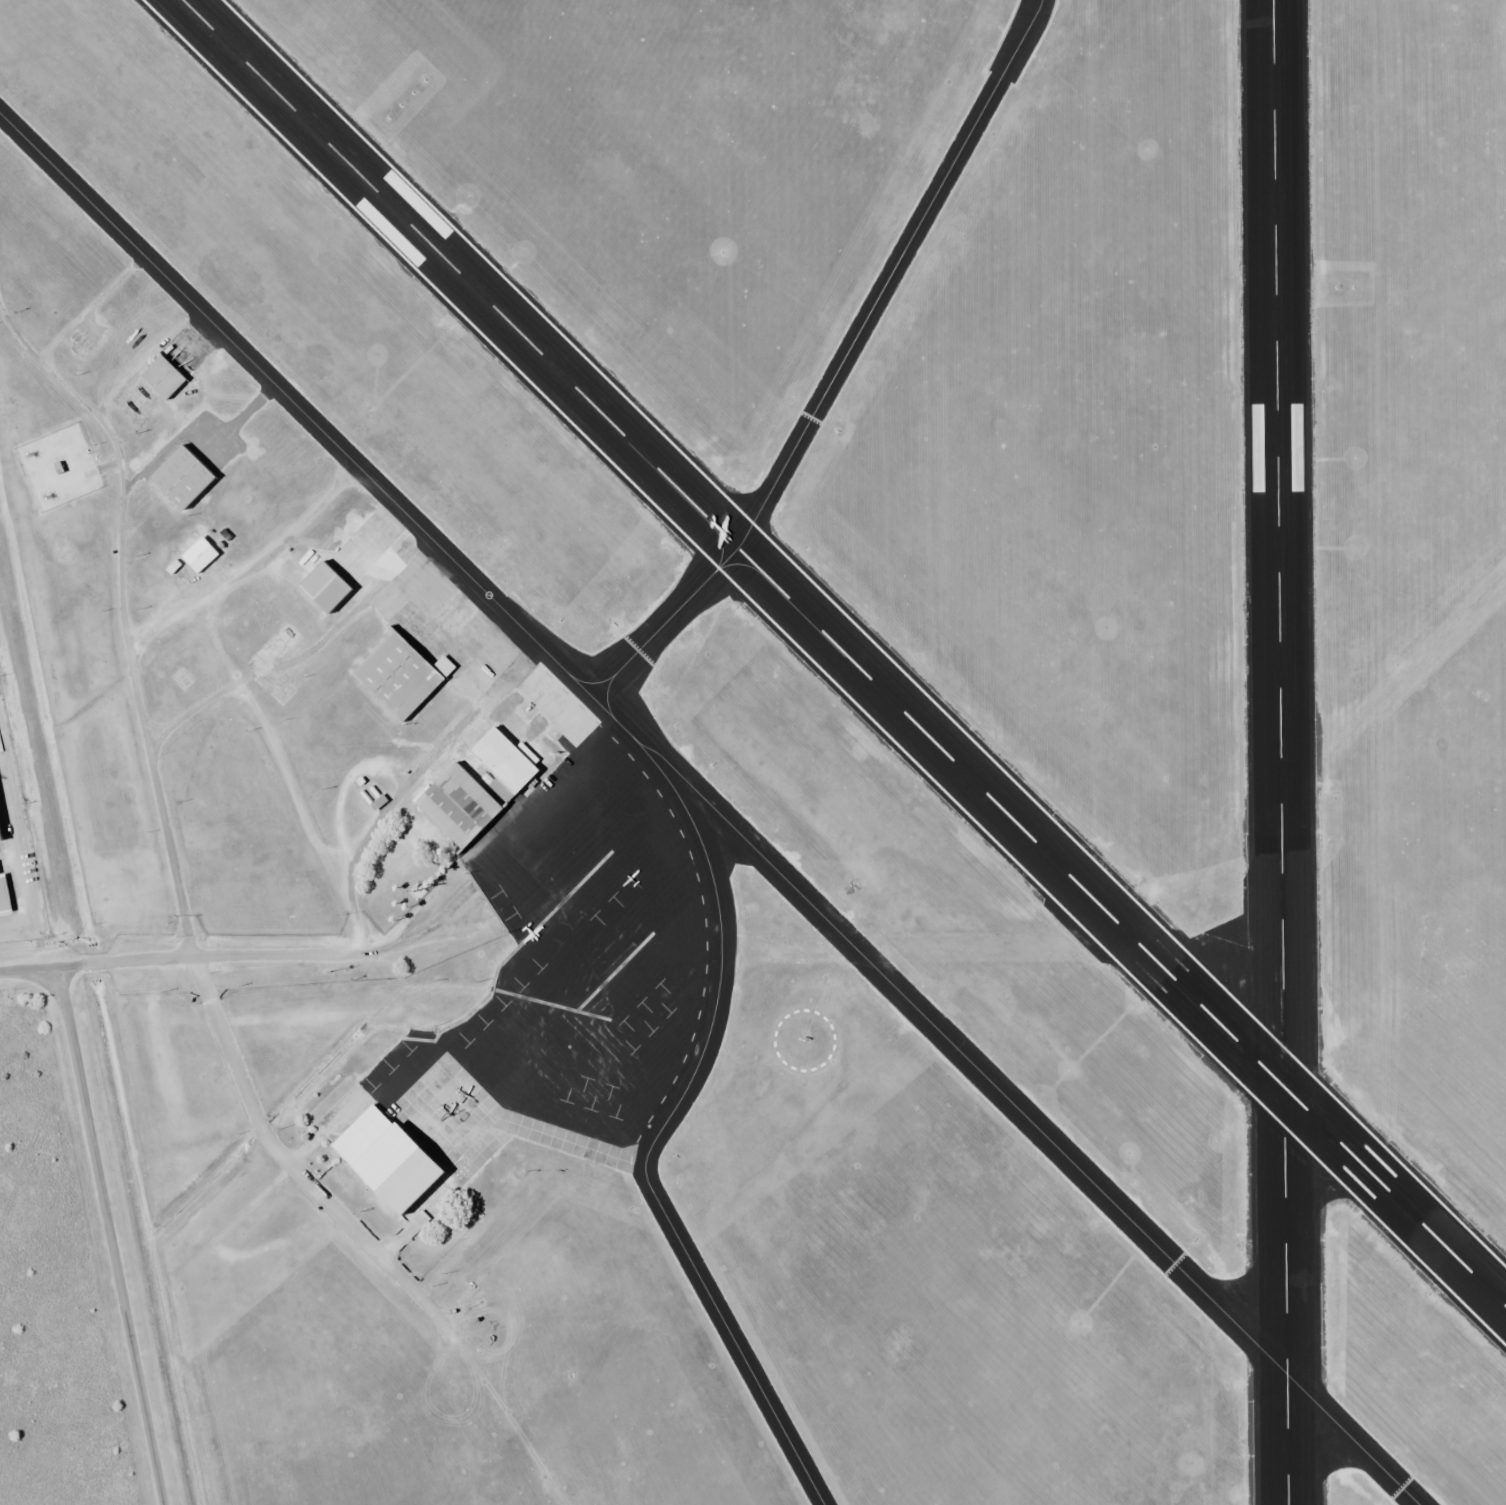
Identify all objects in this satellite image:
building: (78, 344)
airport taxiway: (841, 364)
building: (160, 376)
building: (178, 475)
building: (195, 552)
building: (320, 586)
airport runway: (846, 653)
building: (397, 675)
airport: (778, 733)
airport runway: (1281, 752)
building: (503, 759)
airport taxiway: (708, 806)
building: (461, 820)
building: (3, 896)
airport apron: (582, 925)
road: (188, 955)
airport taxiway: (684, 1107)
building: (382, 1160)
building: (432, 1197)
road: (108, 1235)

